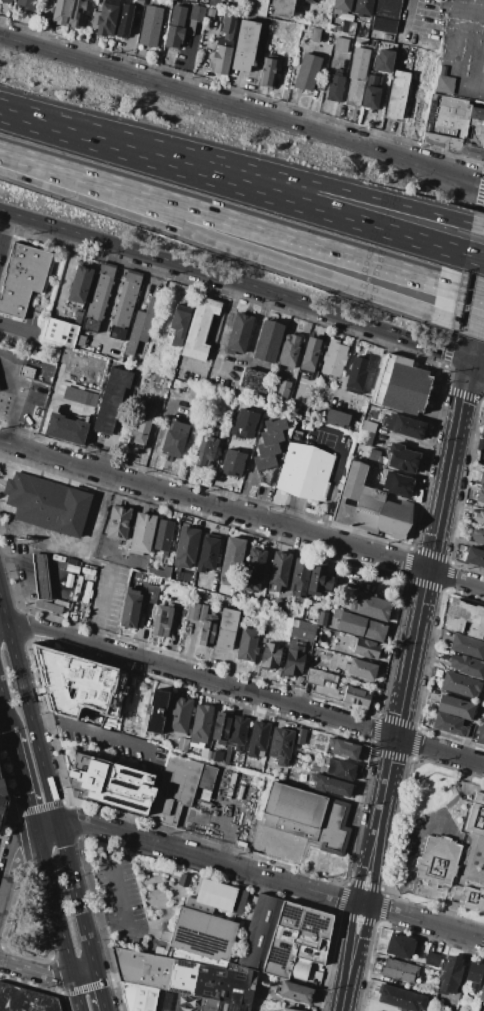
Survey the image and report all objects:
building: (308, 0)
building: (5, 1)
building: (139, 3)
building: (215, 3)
building: (25, 5)
building: (342, 6)
building: (362, 7)
building: (282, 9)
building: (68, 12)
building: (210, 12)
building: (179, 13)
building: (385, 15)
road: (408, 15)
building: (107, 18)
building: (194, 18)
building: (125, 20)
building: (150, 26)
building: (228, 27)
building: (351, 29)
building: (319, 35)
building: (173, 36)
building: (341, 44)
building: (245, 46)
road: (454, 51)
building: (221, 60)
building: (382, 60)
building: (267, 71)
building: (307, 72)
building: (357, 75)
building: (443, 81)
building: (335, 86)
building: (371, 93)
building: (396, 94)
road: (483, 95)
road: (243, 107)
building: (454, 127)
road: (218, 161)
road: (214, 175)
road: (210, 212)
road: (460, 220)
road: (5, 229)
road: (209, 230)
road: (456, 251)
building: (22, 278)
road: (237, 281)
building: (80, 284)
road: (452, 285)
building: (98, 297)
building: (125, 305)
building: (77, 314)
building: (77, 321)
road: (451, 321)
building: (179, 324)
road: (18, 326)
building: (141, 327)
road: (477, 327)
building: (199, 328)
building: (60, 333)
building: (239, 333)
road: (219, 336)
road: (212, 338)
building: (81, 340)
building: (269, 342)
building: (289, 350)
building: (310, 355)
building: (334, 358)
road: (345, 363)
traffic signals: (470, 364)
road: (477, 365)
road: (477, 367)
building: (25, 372)
building: (356, 376)
building: (149, 377)
building: (254, 380)
building: (402, 385)
building: (282, 390)
road: (22, 395)
building: (78, 396)
road: (463, 398)
building: (111, 399)
road: (9, 406)
building: (336, 418)
building: (244, 424)
building: (483, 424)
building: (142, 425)
building: (275, 425)
building: (408, 427)
building: (66, 428)
building: (296, 434)
building: (272, 437)
building: (365, 437)
building: (175, 439)
building: (207, 446)
building: (267, 449)
building: (402, 458)
building: (264, 462)
building: (233, 463)
building: (305, 472)
building: (482, 477)
road: (333, 479)
building: (399, 484)
building: (480, 494)
building: (369, 505)
building: (47, 506)
road: (241, 514)
road: (99, 515)
building: (478, 517)
building: (119, 522)
building: (483, 525)
building: (141, 533)
building: (478, 534)
building: (163, 535)
road: (44, 543)
building: (186, 547)
building: (207, 554)
building: (474, 556)
road: (429, 560)
building: (232, 562)
road: (100, 563)
building: (254, 569)
building: (159, 571)
building: (278, 571)
building: (40, 576)
building: (299, 576)
building: (319, 581)
building: (152, 594)
building: (335, 602)
road: (103, 606)
building: (370, 606)
building: (129, 608)
building: (256, 608)
building: (196, 611)
building: (322, 618)
building: (465, 618)
building: (162, 621)
road: (3, 624)
building: (361, 626)
building: (226, 629)
building: (302, 630)
building: (207, 633)
building: (445, 635)
building: (247, 644)
building: (467, 645)
building: (366, 648)
building: (271, 656)
building: (293, 659)
building: (466, 666)
building: (361, 669)
building: (319, 677)
parking lot: (72, 685)
building: (461, 685)
road: (58, 691)
road: (246, 691)
building: (355, 695)
building: (113, 701)
building: (455, 707)
road: (6, 709)
road: (28, 709)
building: (157, 711)
road: (400, 712)
building: (178, 716)
building: (201, 724)
building: (448, 724)
building: (221, 727)
building: (469, 731)
road: (98, 733)
building: (479, 733)
building: (300, 734)
building: (236, 735)
traffic signals: (396, 737)
building: (257, 738)
building: (182, 745)
building: (281, 745)
building: (344, 749)
building: (210, 755)
road: (390, 762)
building: (316, 767)
building: (343, 769)
road: (24, 781)
building: (255, 781)
building: (113, 784)
building: (230, 784)
building: (266, 784)
building: (331, 785)
building: (179, 788)
building: (1, 793)
building: (302, 822)
road: (47, 825)
building: (449, 850)
road: (11, 859)
building: (311, 859)
road: (270, 876)
road: (75, 896)
road: (119, 897)
building: (474, 897)
parking lot: (119, 899)
road: (363, 899)
road: (55, 902)
road: (103, 918)
park: (27, 923)
building: (204, 924)
building: (259, 932)
building: (297, 939)
building: (400, 946)
building: (431, 960)
building: (142, 968)
building: (399, 970)
road: (36, 971)
road: (84, 972)
building: (474, 975)
building: (450, 976)
building: (211, 982)
road: (99, 990)
road: (77, 992)
building: (292, 993)
building: (482, 994)
building: (139, 996)
building: (401, 998)
building: (25, 1000)
building: (465, 1002)
building: (231, 1006)
building: (287, 1009)
building: (253, 1010)

